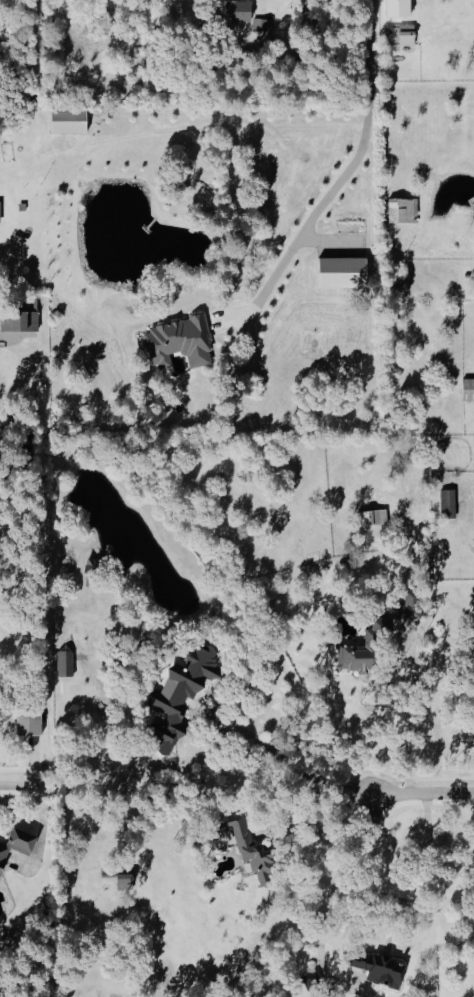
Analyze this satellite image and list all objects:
road: (262, 4)
building: (400, 8)
building: (240, 11)
building: (264, 27)
building: (402, 35)
building: (70, 121)
road: (204, 127)
road: (343, 176)
building: (404, 211)
building: (1, 212)
building: (344, 273)
building: (20, 322)
building: (181, 343)
building: (469, 390)
building: (450, 502)
building: (374, 518)
building: (409, 605)
building: (363, 649)
building: (66, 662)
building: (190, 683)
building: (31, 723)
road: (408, 726)
road: (292, 761)
road: (24, 789)
road: (423, 795)
road: (326, 827)
road: (44, 835)
building: (17, 845)
building: (251, 848)
road: (330, 892)
building: (383, 969)

